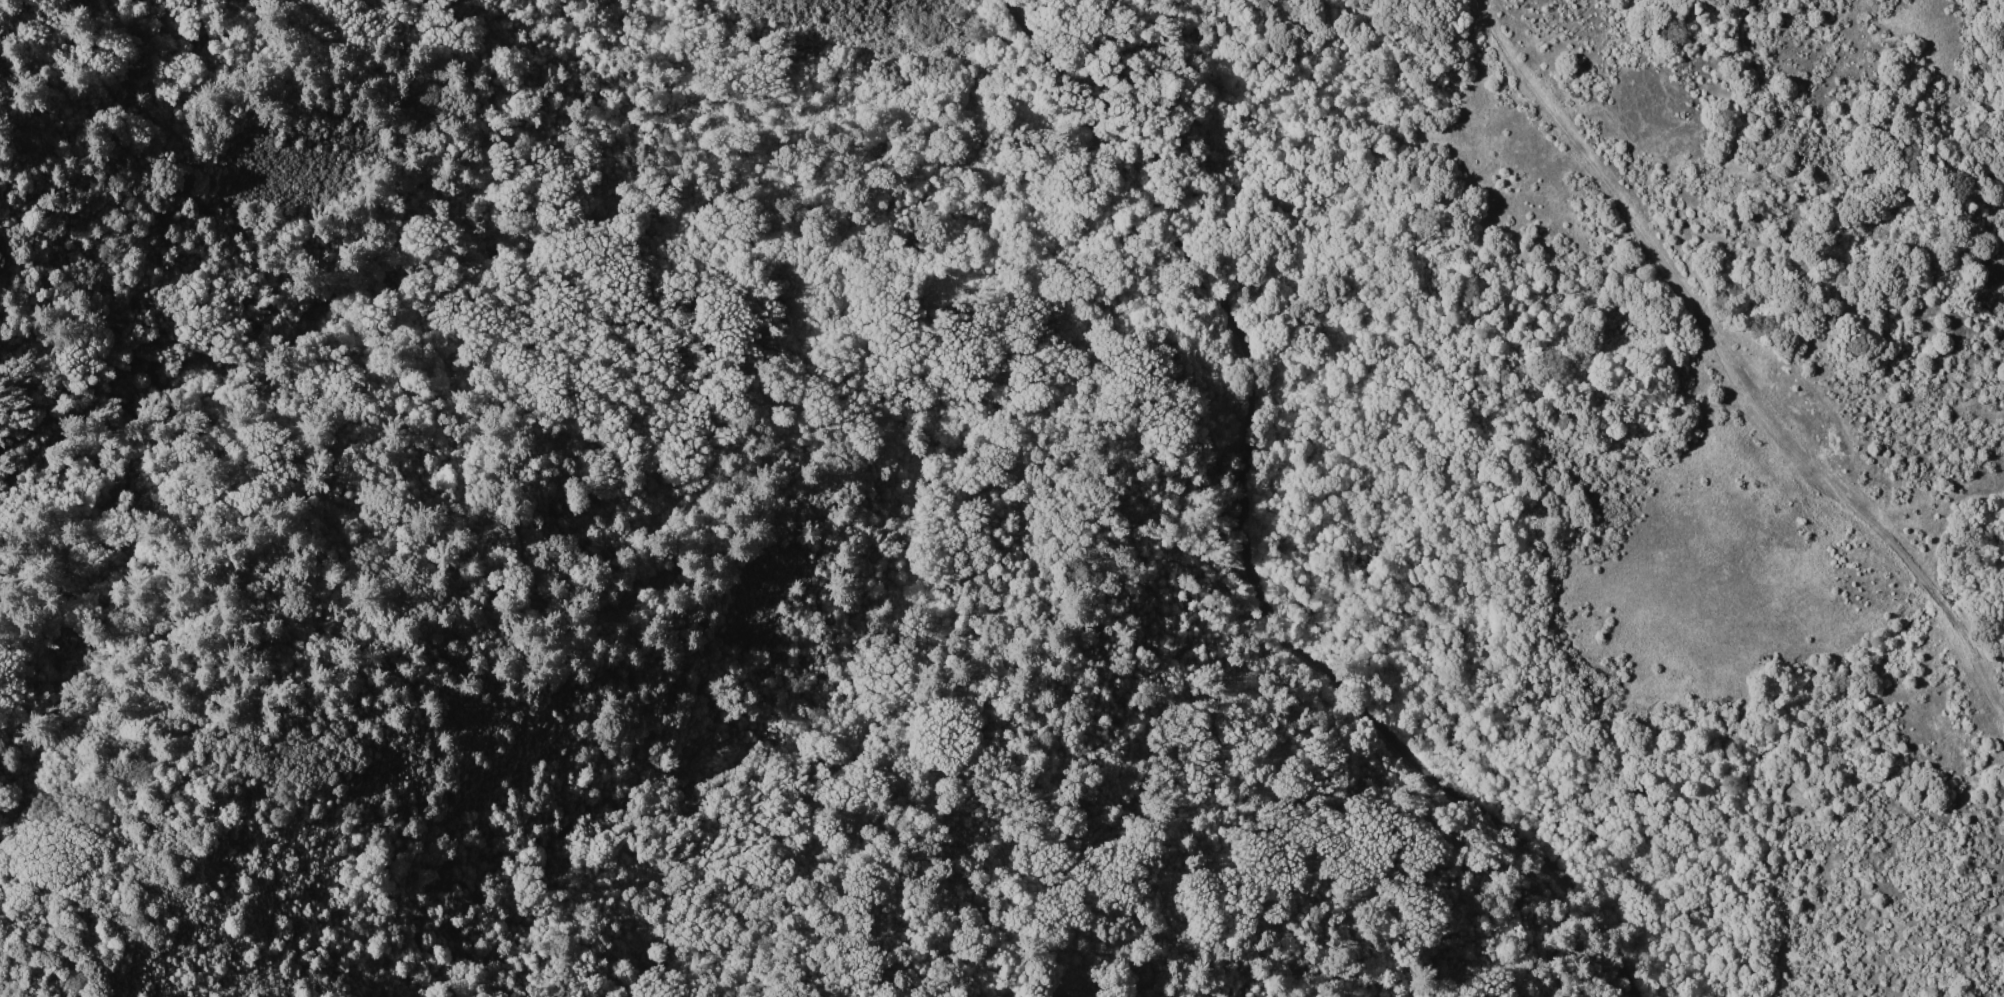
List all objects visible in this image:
road: (1480, 8)
road: (1562, 130)
road: (1693, 310)
road: (1886, 537)
road: (1243, 539)

